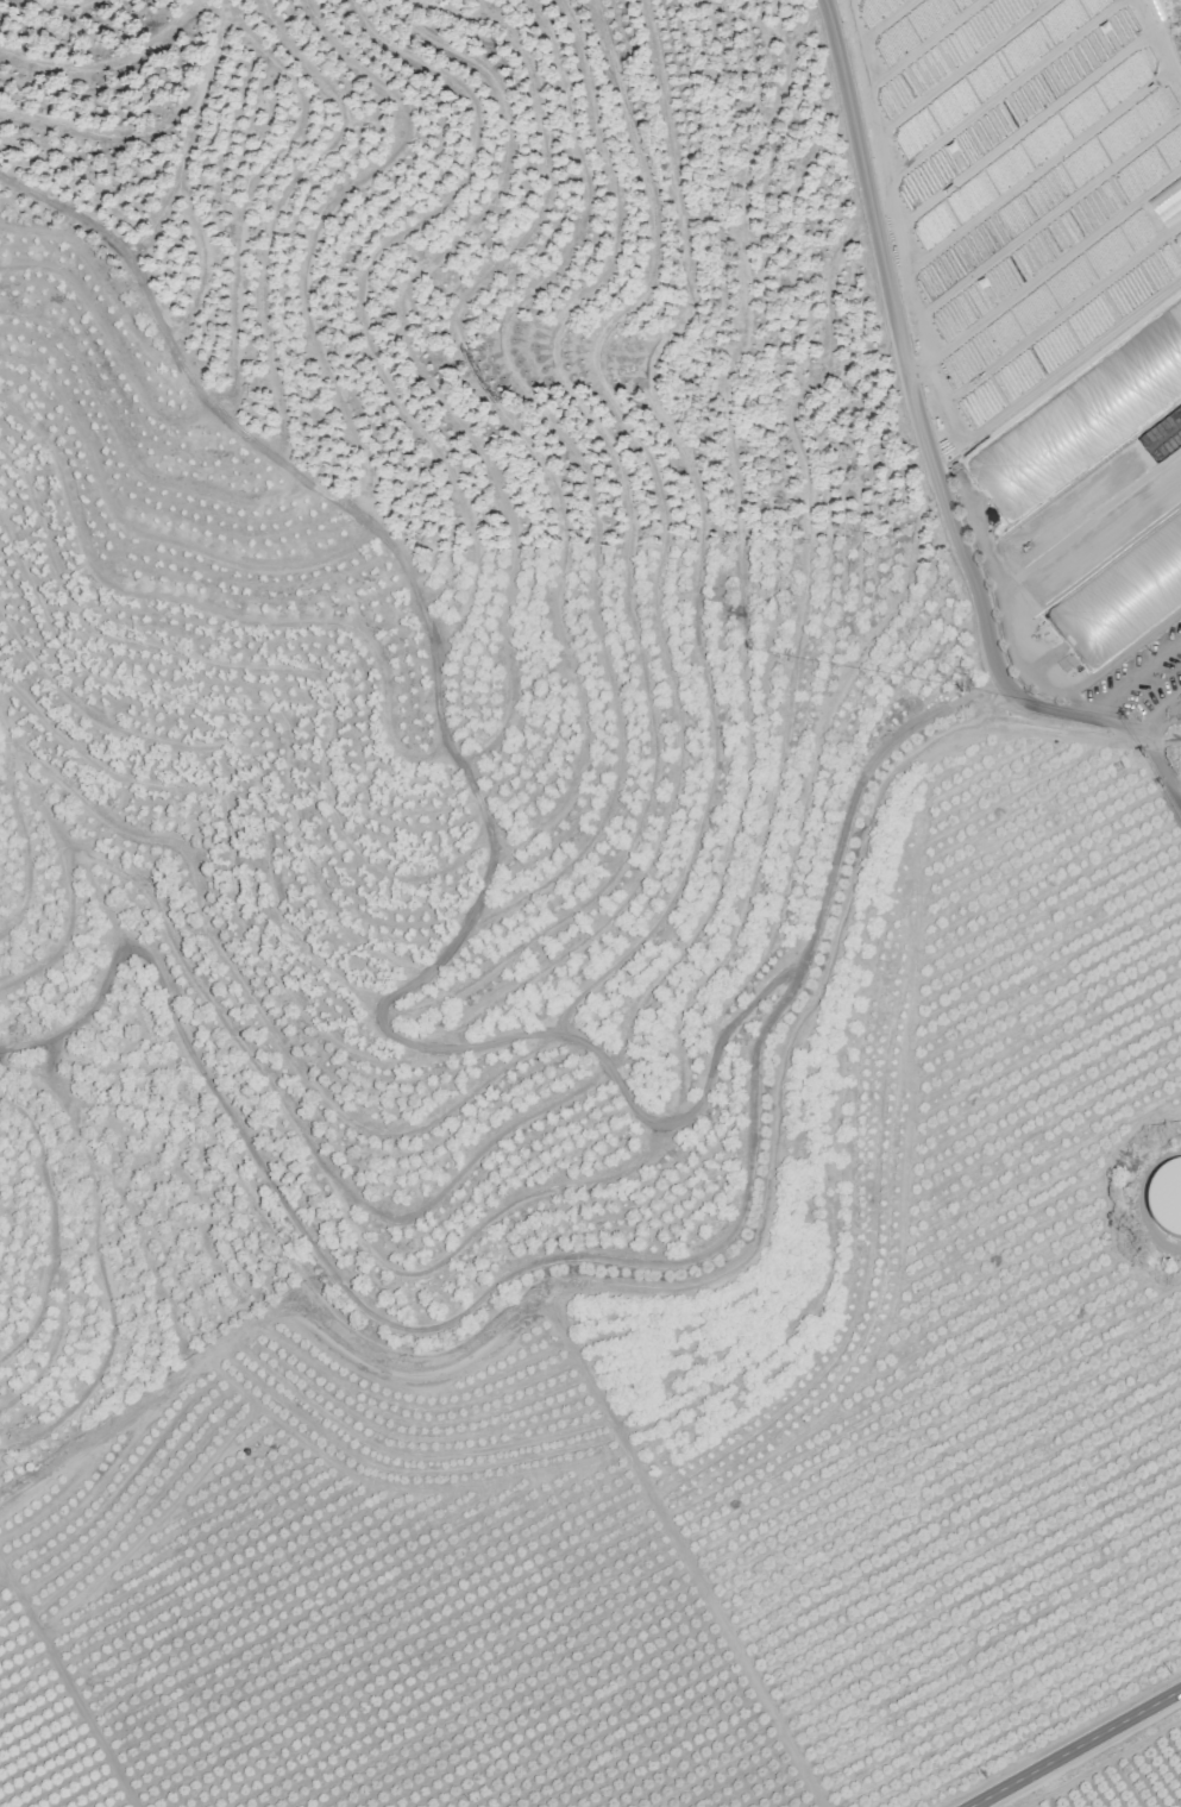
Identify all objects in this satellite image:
road: (932, 454)
road: (1135, 682)
road: (1161, 717)
road: (1179, 789)
building: (1164, 1199)
storage tank: (1166, 1199)
road: (1074, 1748)

